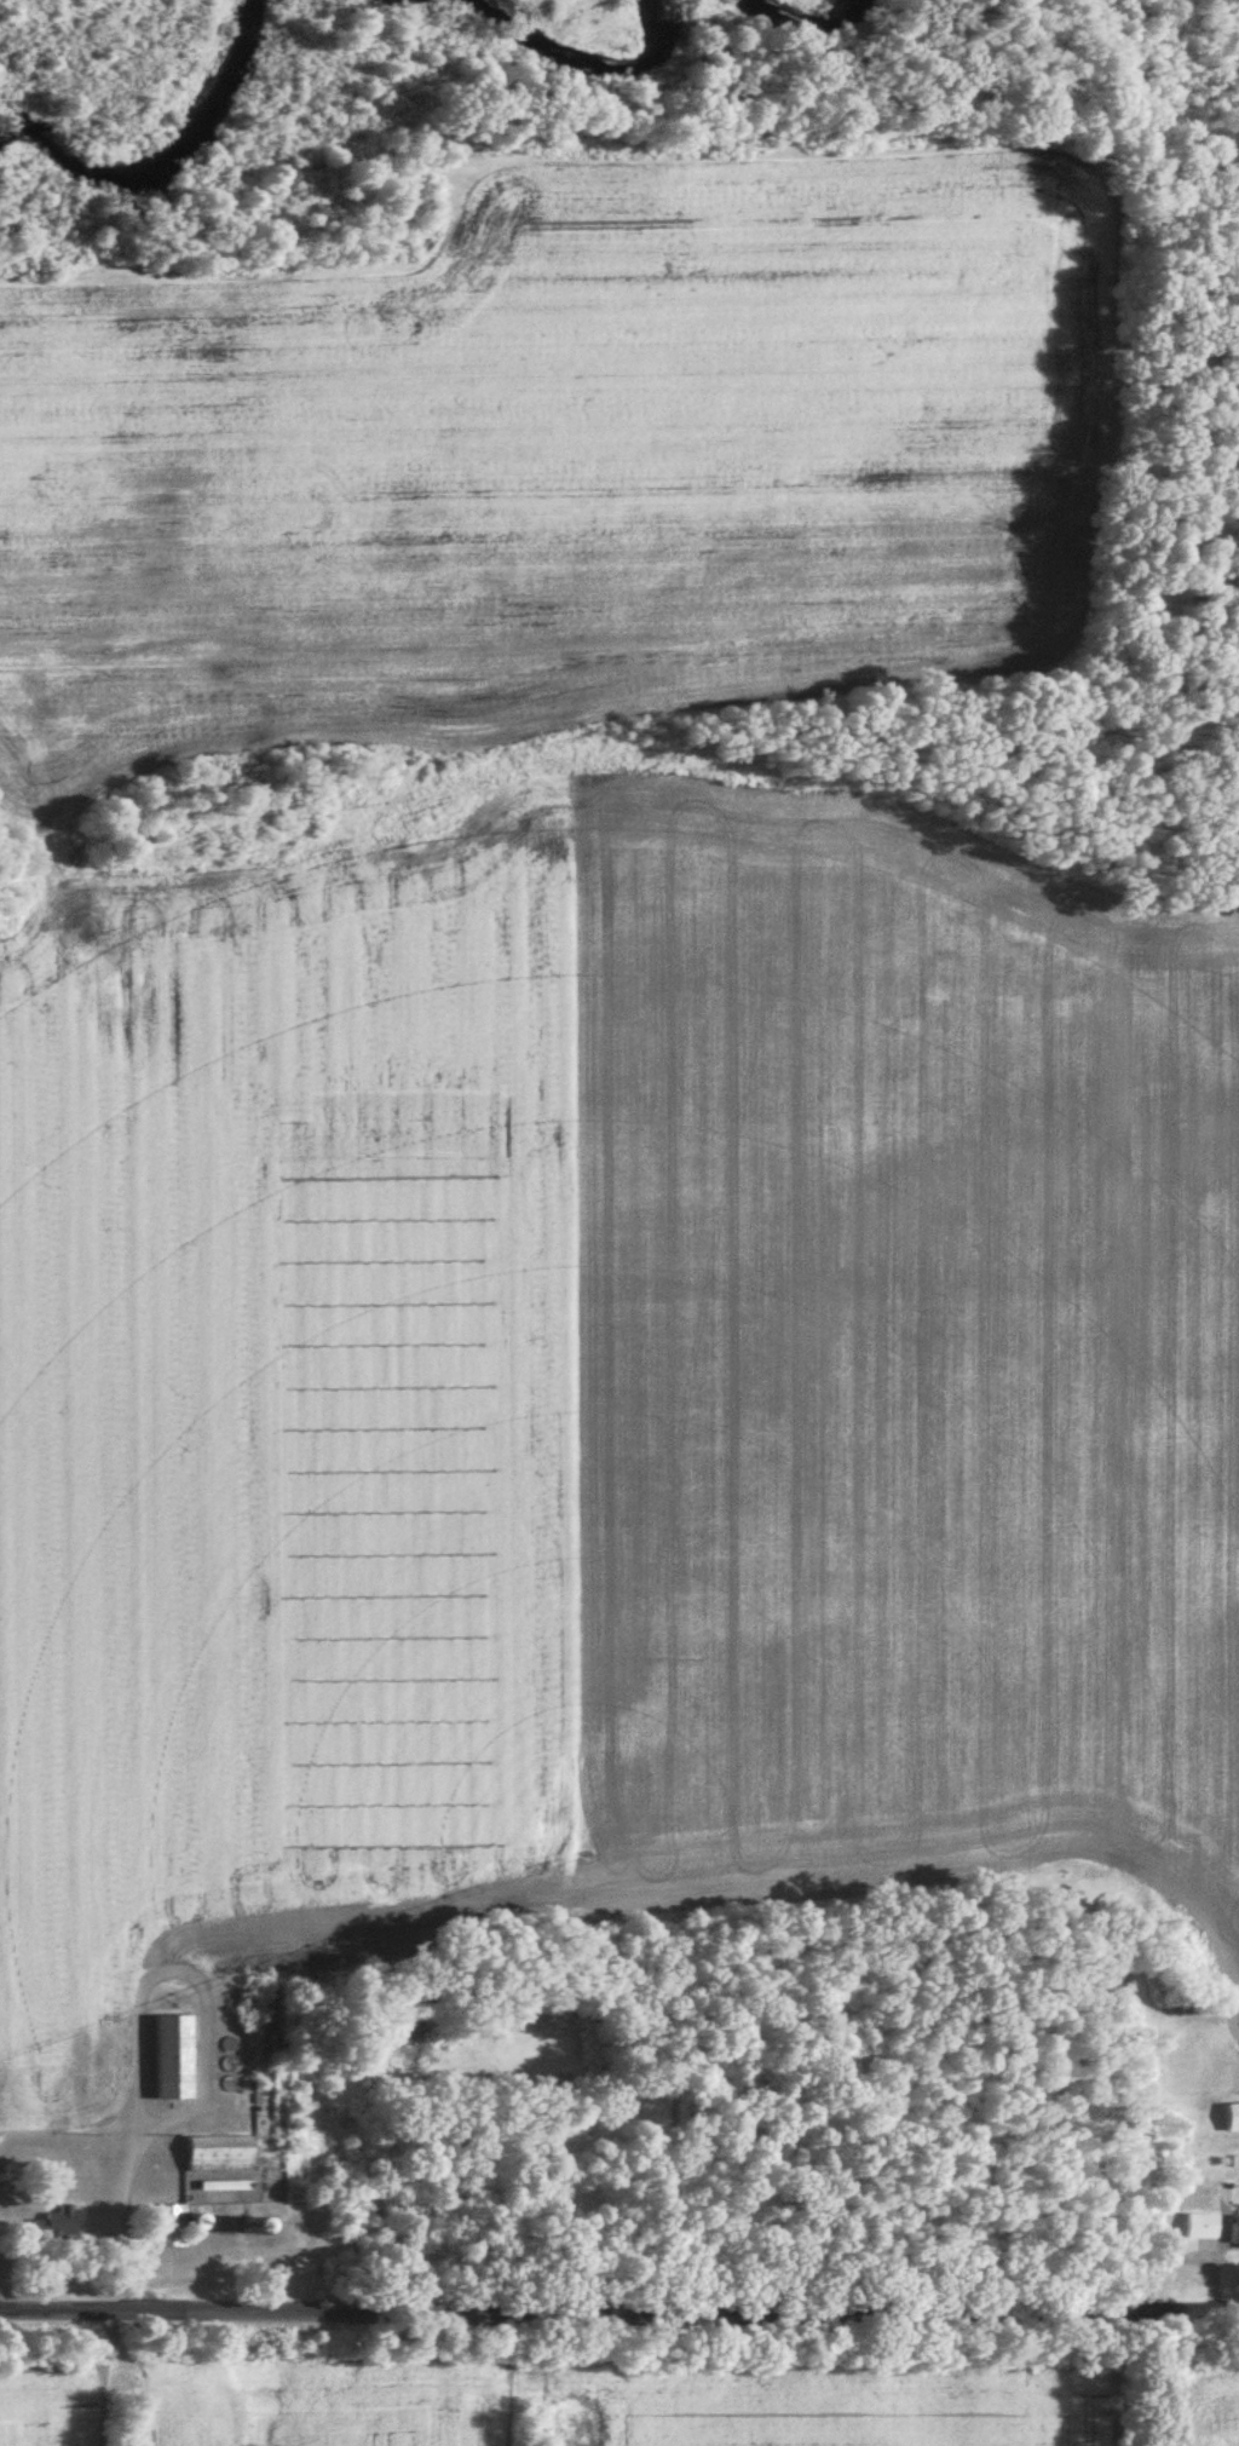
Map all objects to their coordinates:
building: (175, 2055)
building: (1235, 2116)
building: (221, 2152)
building: (59, 2223)
building: (171, 2225)
building: (1208, 2225)
building: (1238, 2228)
road: (618, 2315)

